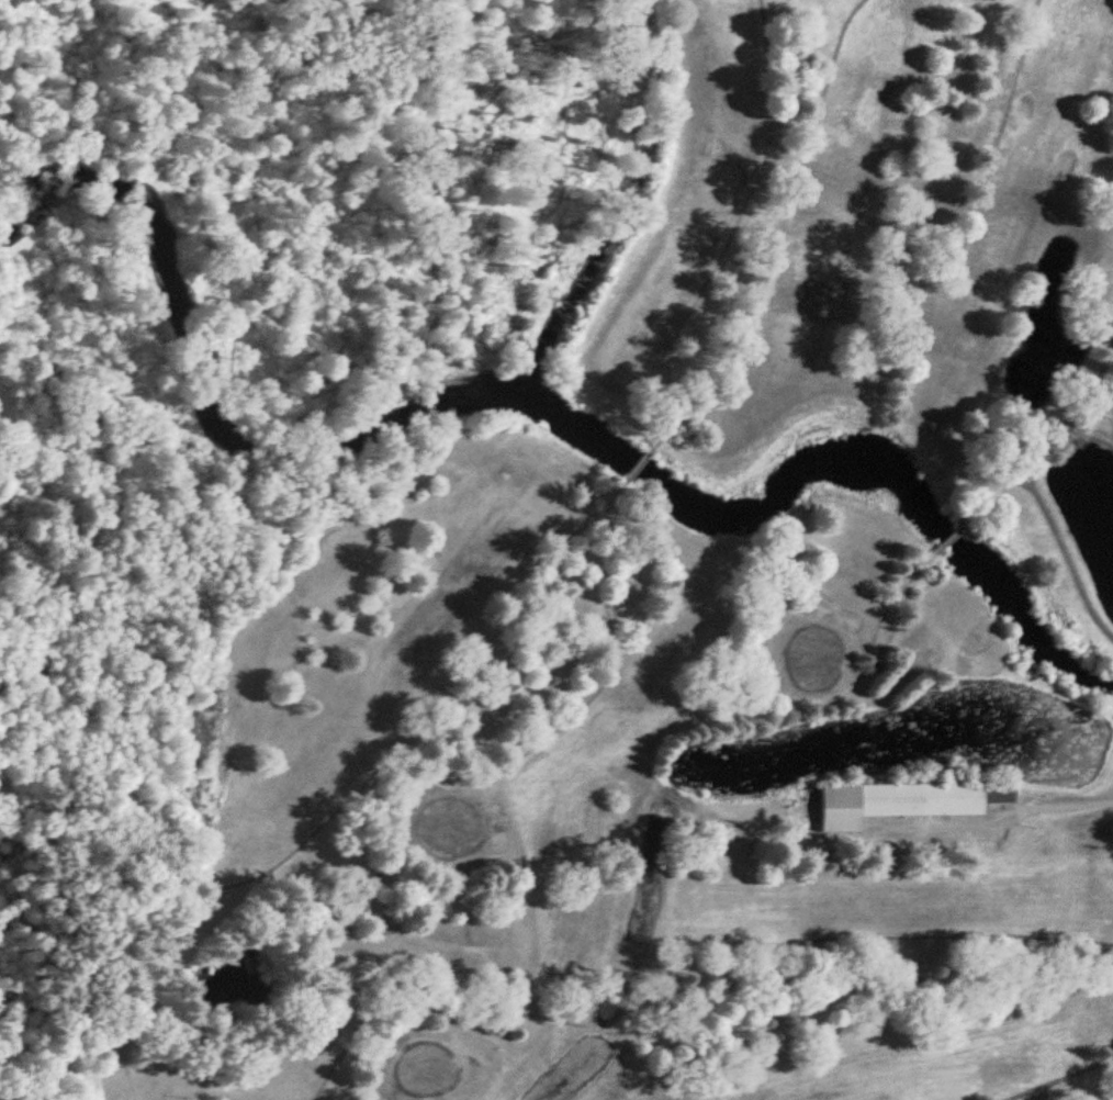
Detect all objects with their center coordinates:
river: (522, 399)
park: (561, 547)
building: (896, 804)

